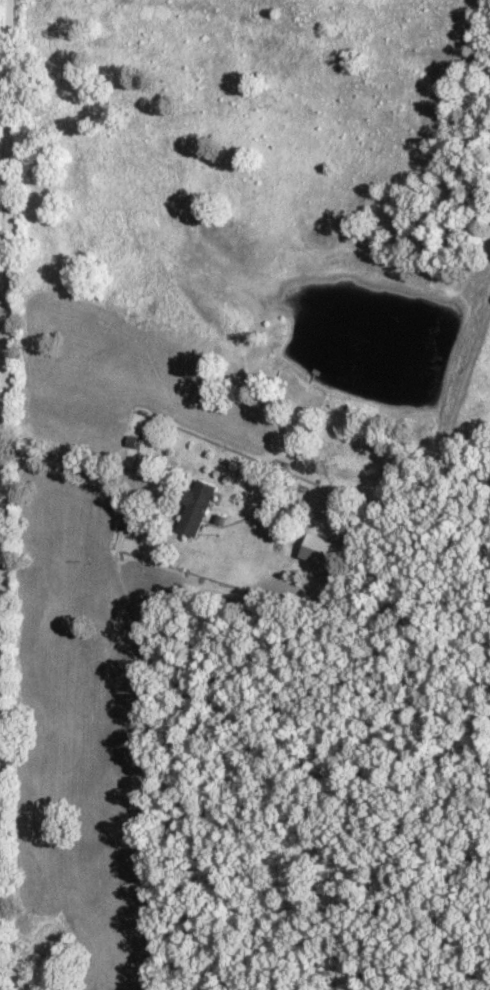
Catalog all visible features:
road: (0, 34)
building: (45, 441)
building: (190, 511)

